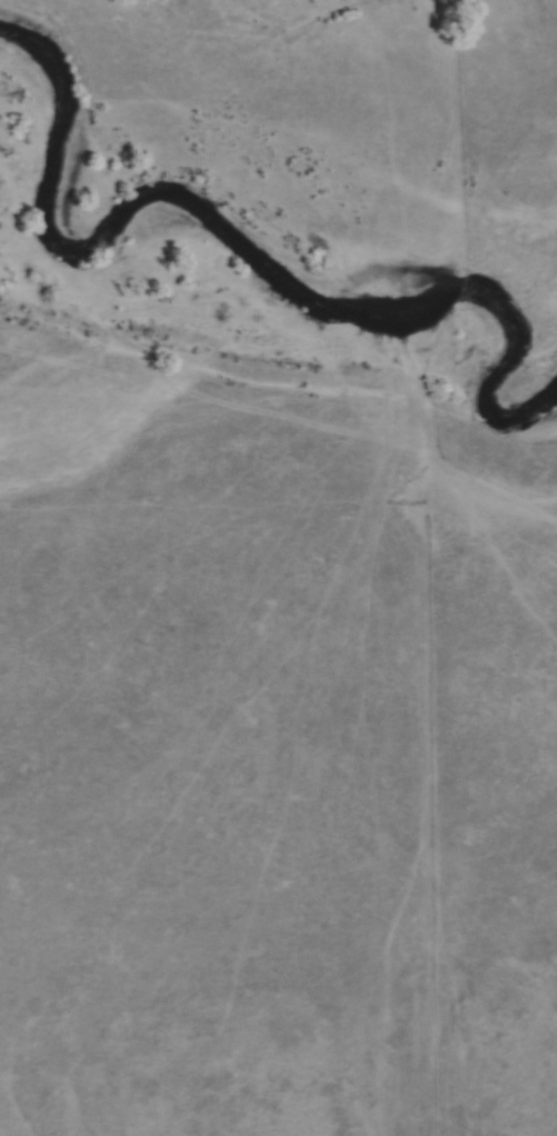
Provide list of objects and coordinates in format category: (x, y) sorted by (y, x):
river: (246, 248)

